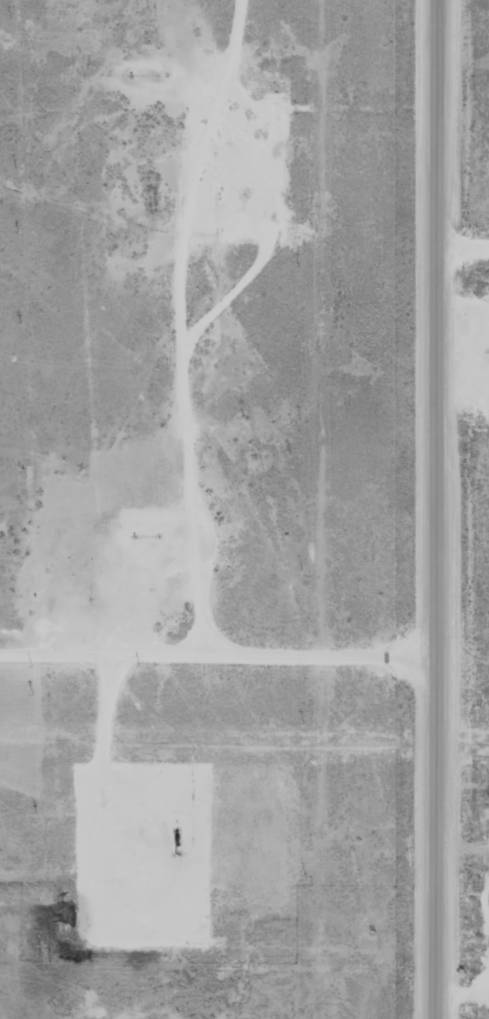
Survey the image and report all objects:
road: (462, 213)
road: (189, 396)
road: (432, 509)
road: (289, 629)

